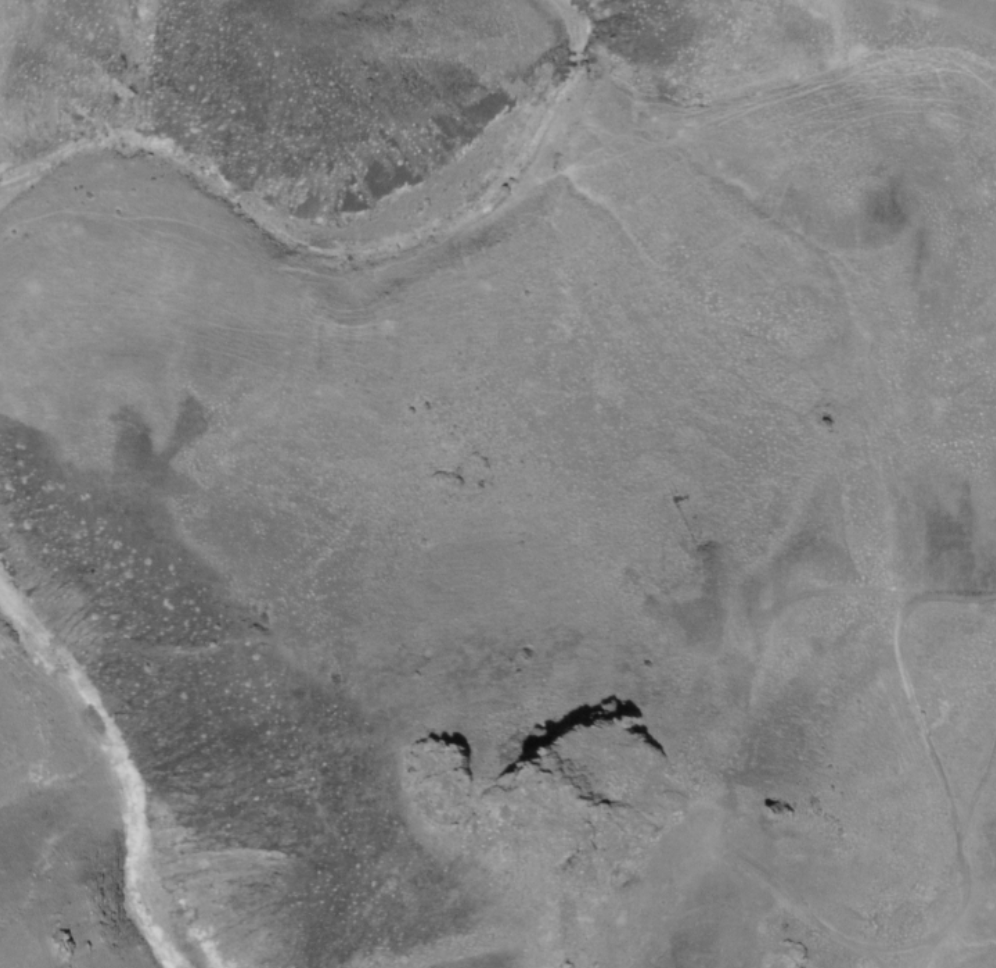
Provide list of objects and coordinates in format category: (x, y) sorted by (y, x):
road: (947, 13)
road: (813, 589)
road: (905, 675)
road: (964, 859)
road: (802, 907)

